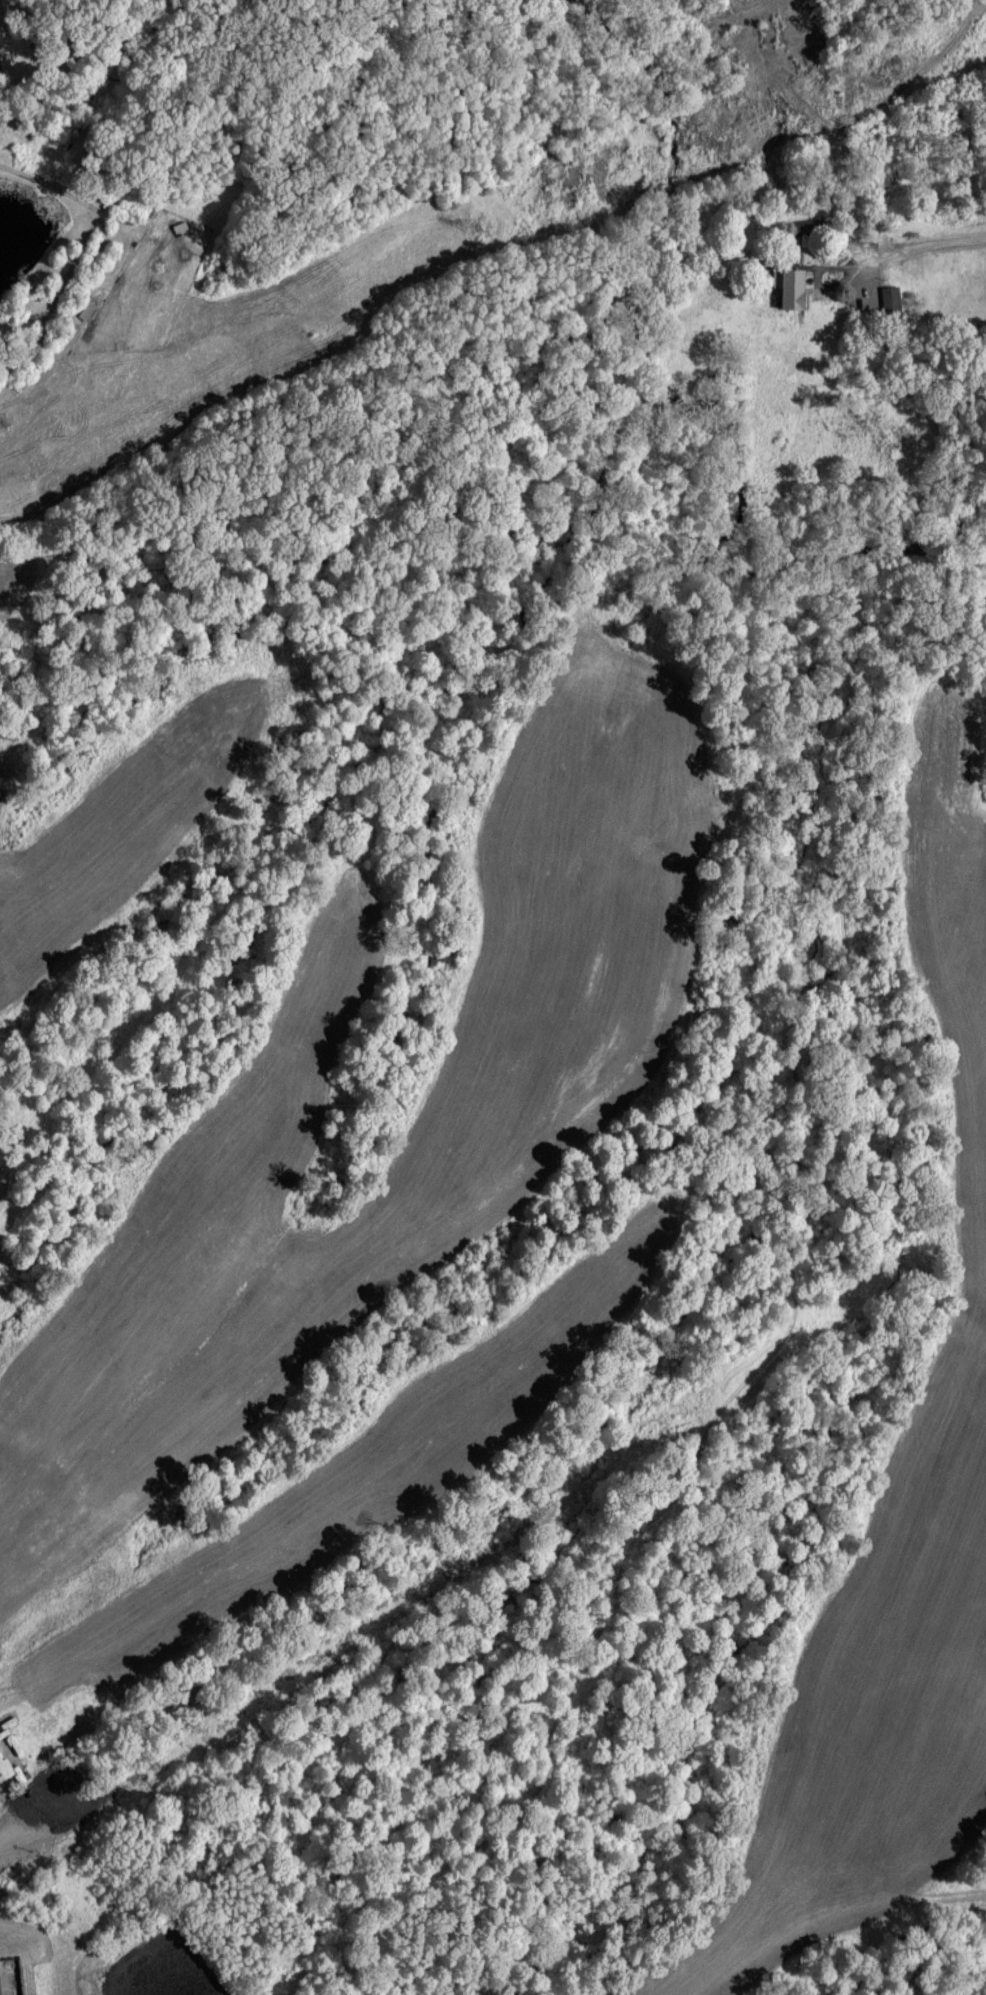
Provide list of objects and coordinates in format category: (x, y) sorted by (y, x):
building: (0, 55)
road: (872, 103)
road: (910, 247)
road: (864, 272)
building: (794, 286)
building: (890, 296)
building: (5, 1768)

